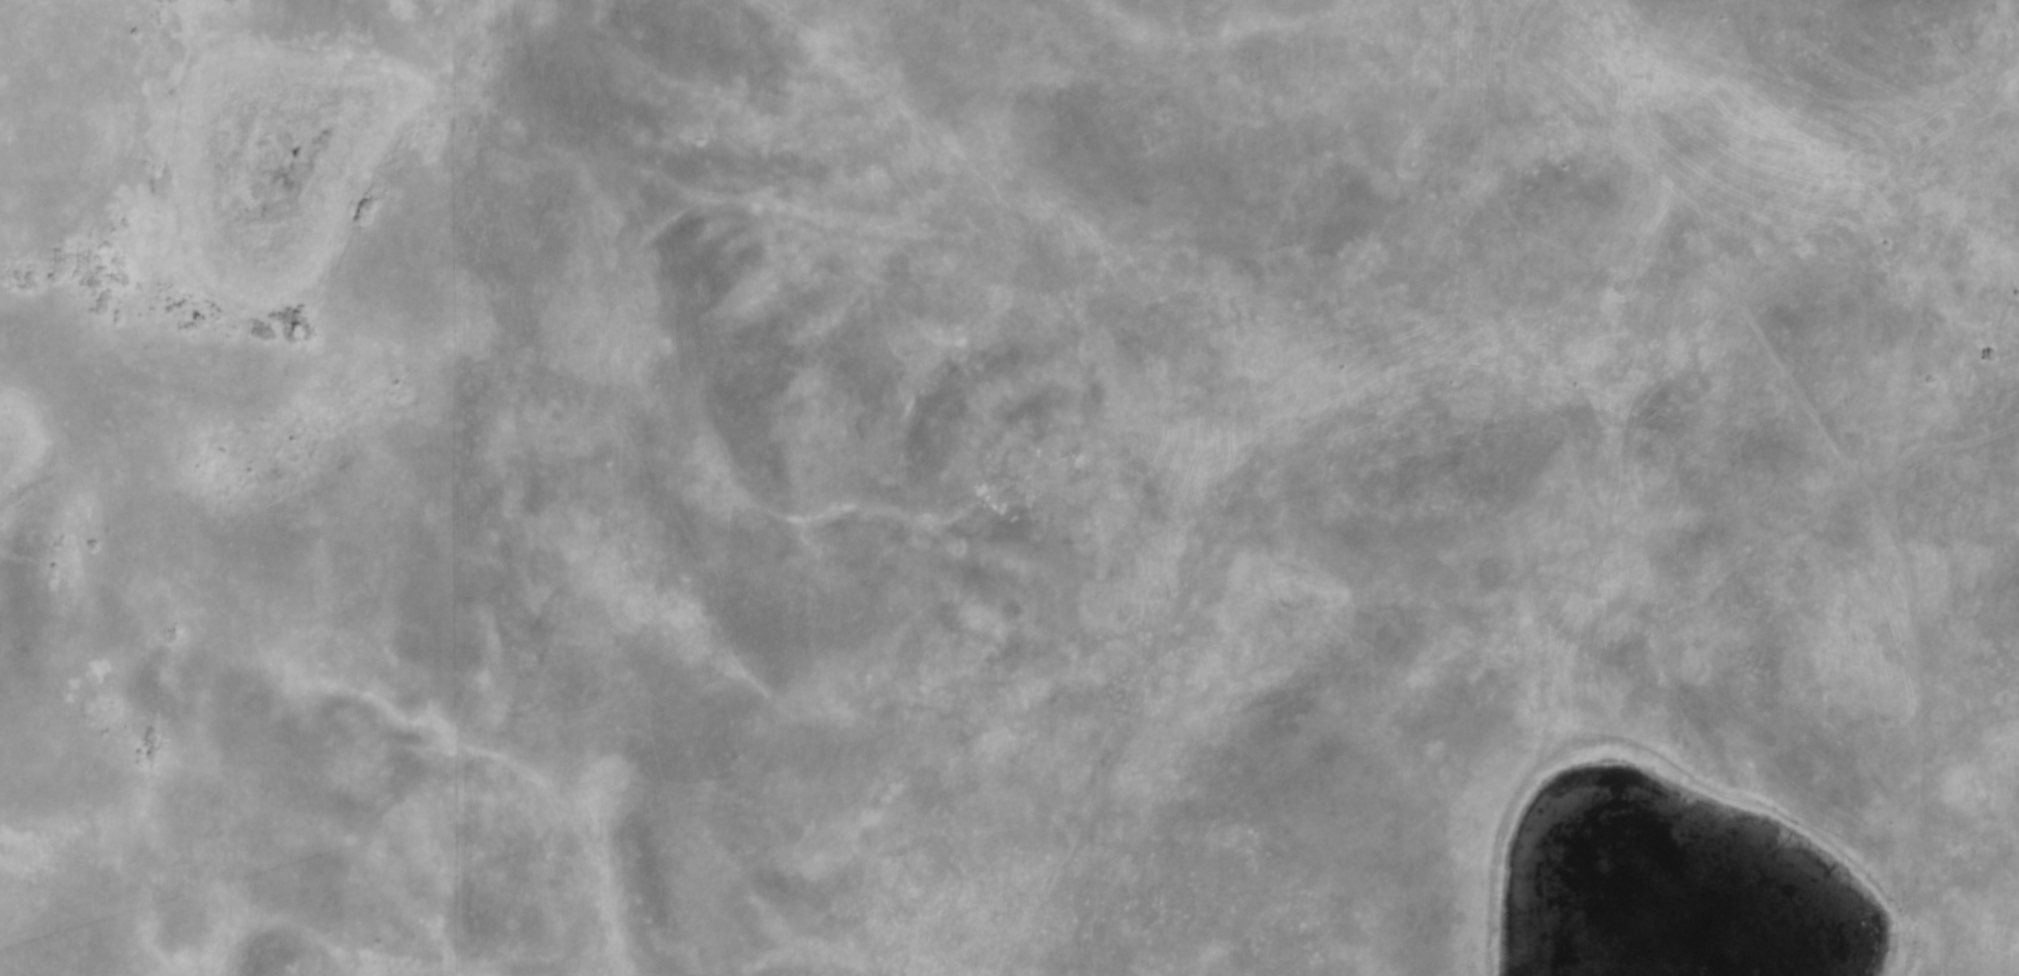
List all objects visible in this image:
road: (1914, 656)

